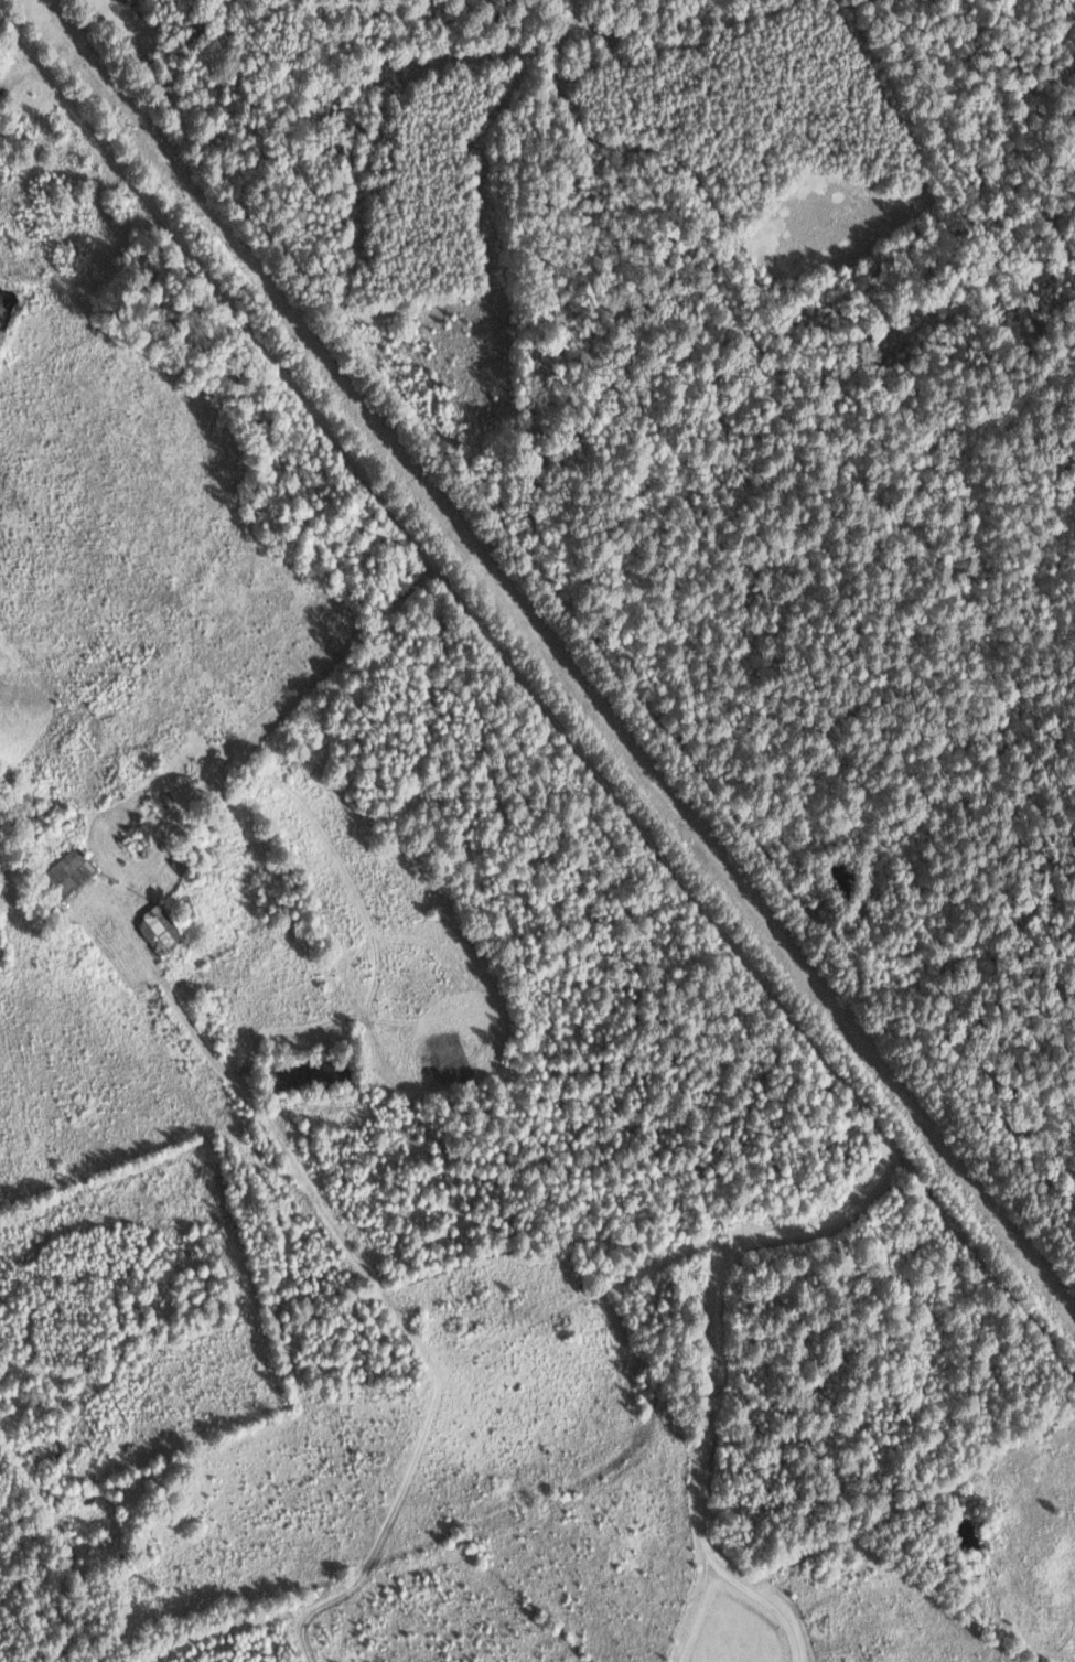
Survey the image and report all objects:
building: (65, 875)
building: (159, 930)

